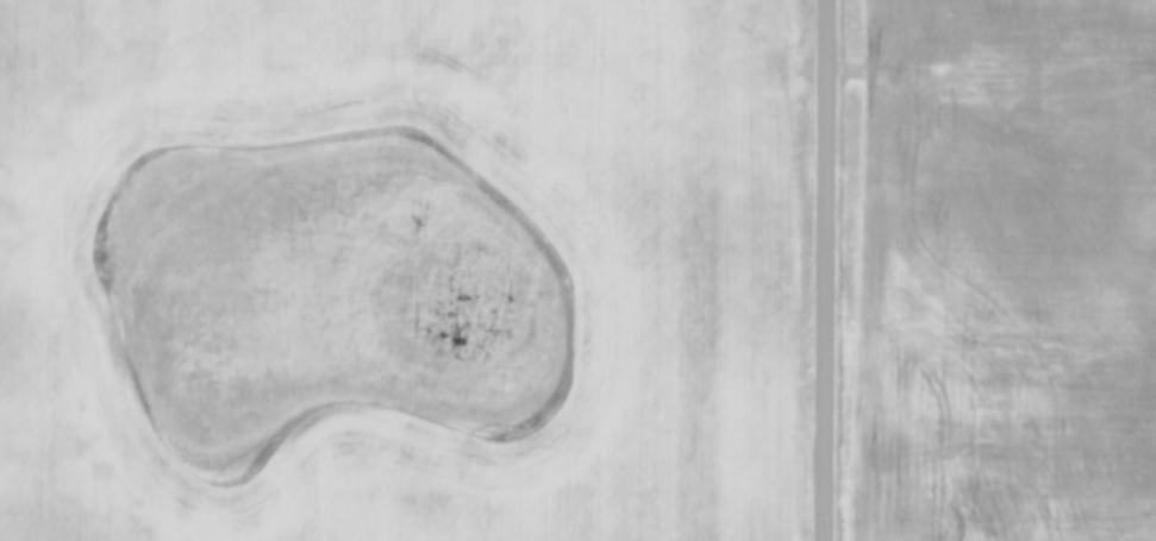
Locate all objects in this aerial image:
road: (825, 270)

